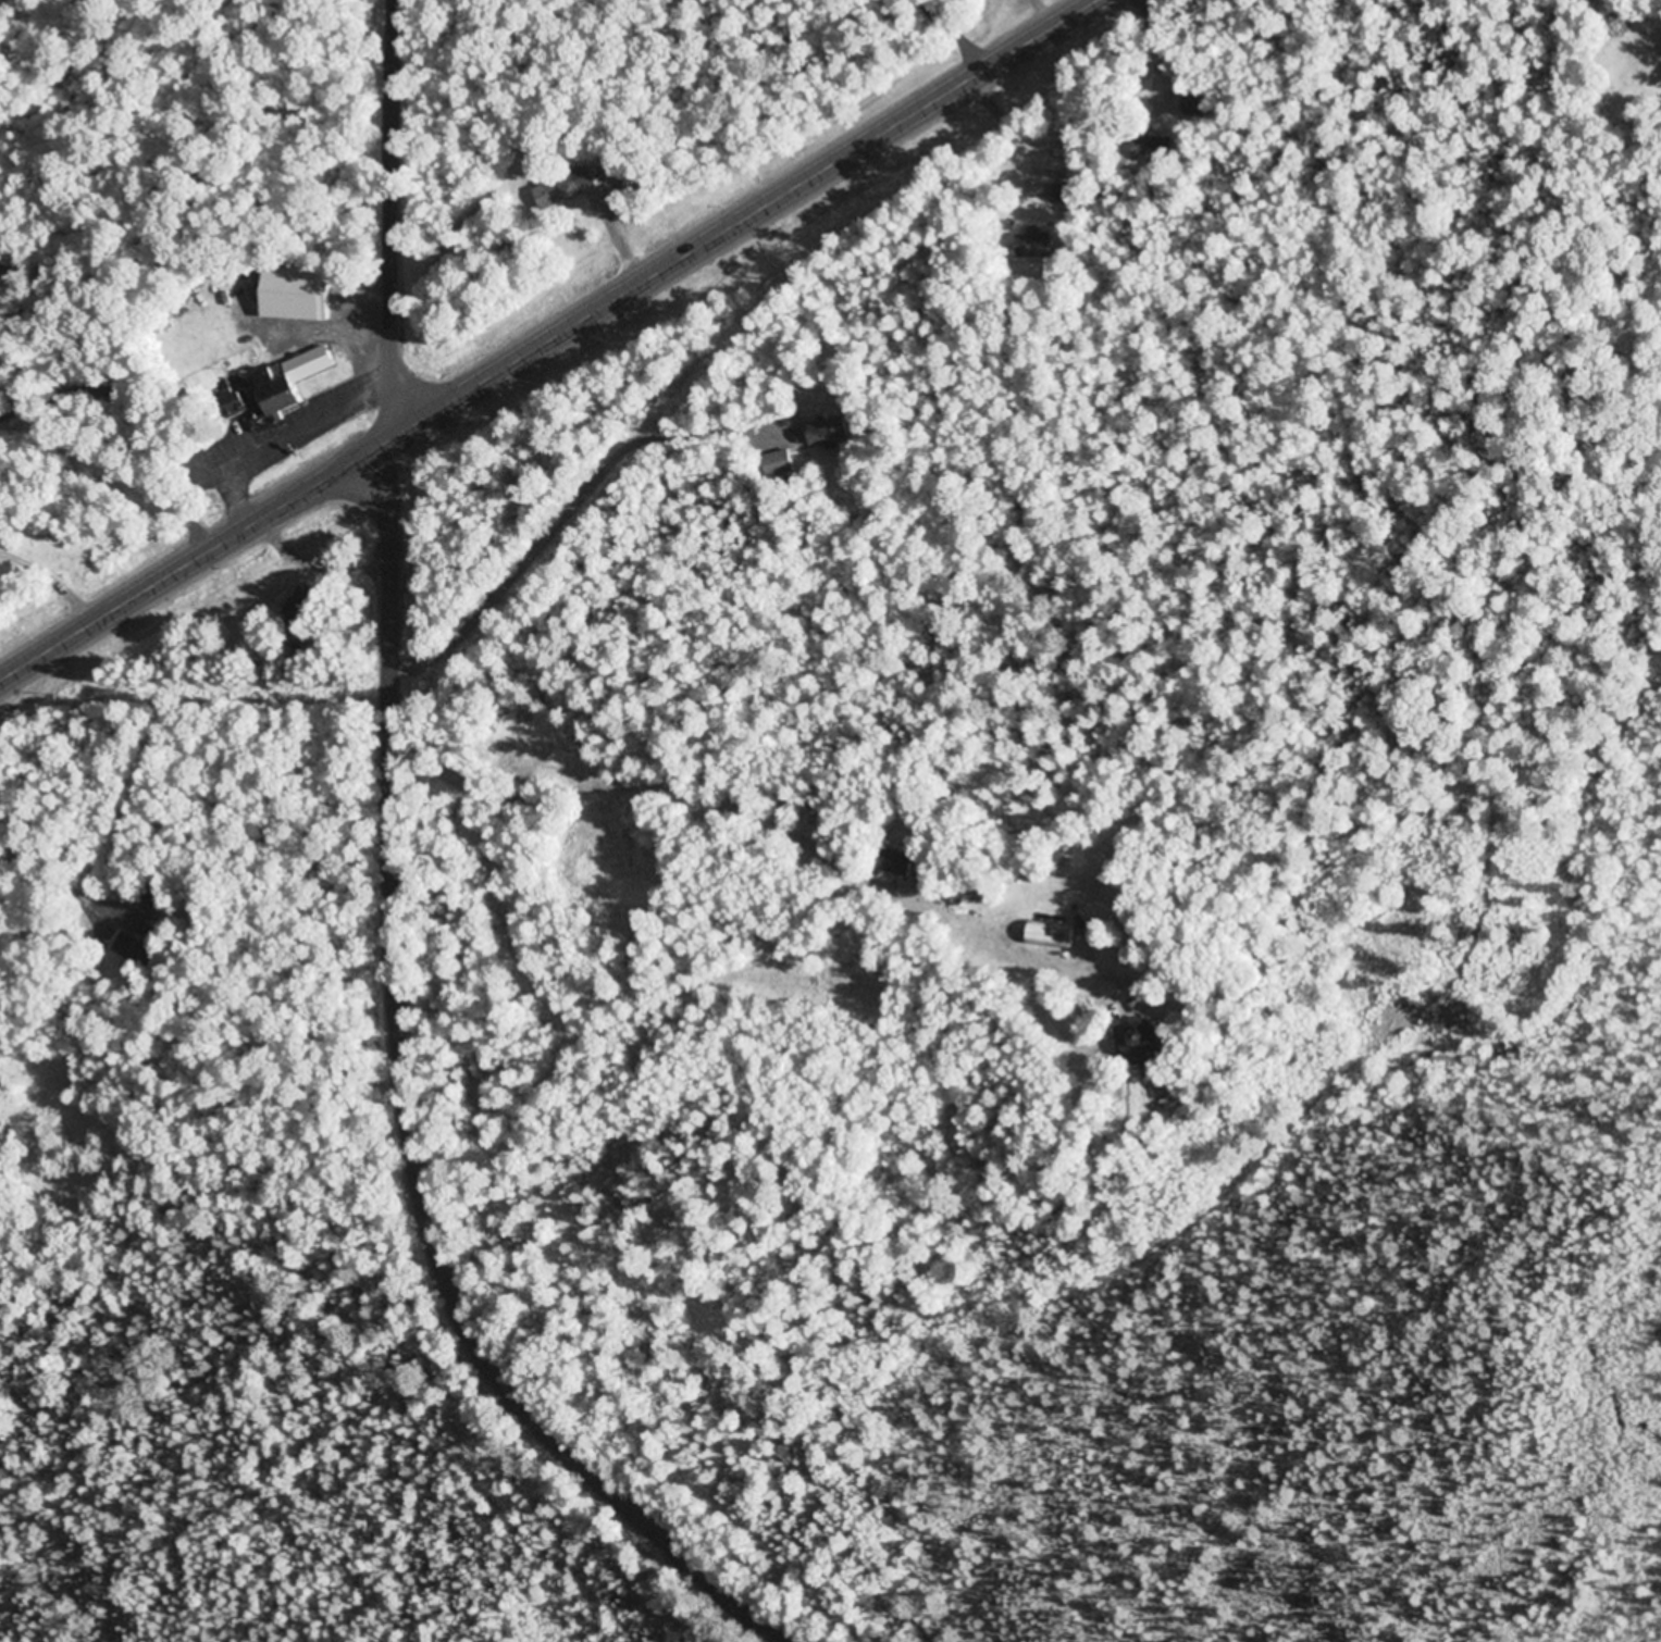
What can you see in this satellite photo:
road: (921, 1)
road: (924, 1)
road: (1043, 12)
road: (953, 35)
road: (1152, 63)
building: (1192, 107)
road: (185, 119)
road: (1005, 126)
building: (635, 181)
building: (546, 195)
building: (1070, 195)
road: (392, 216)
road: (615, 234)
building: (1034, 246)
building: (297, 295)
road: (510, 314)
road: (546, 338)
road: (572, 366)
building: (293, 382)
building: (237, 405)
building: (828, 430)
building: (779, 464)
road: (573, 499)
building: (305, 609)
building: (895, 863)
building: (1027, 876)
building: (972, 898)
building: (1051, 936)
building: (134, 950)
building: (1145, 1040)
road: (413, 1111)

